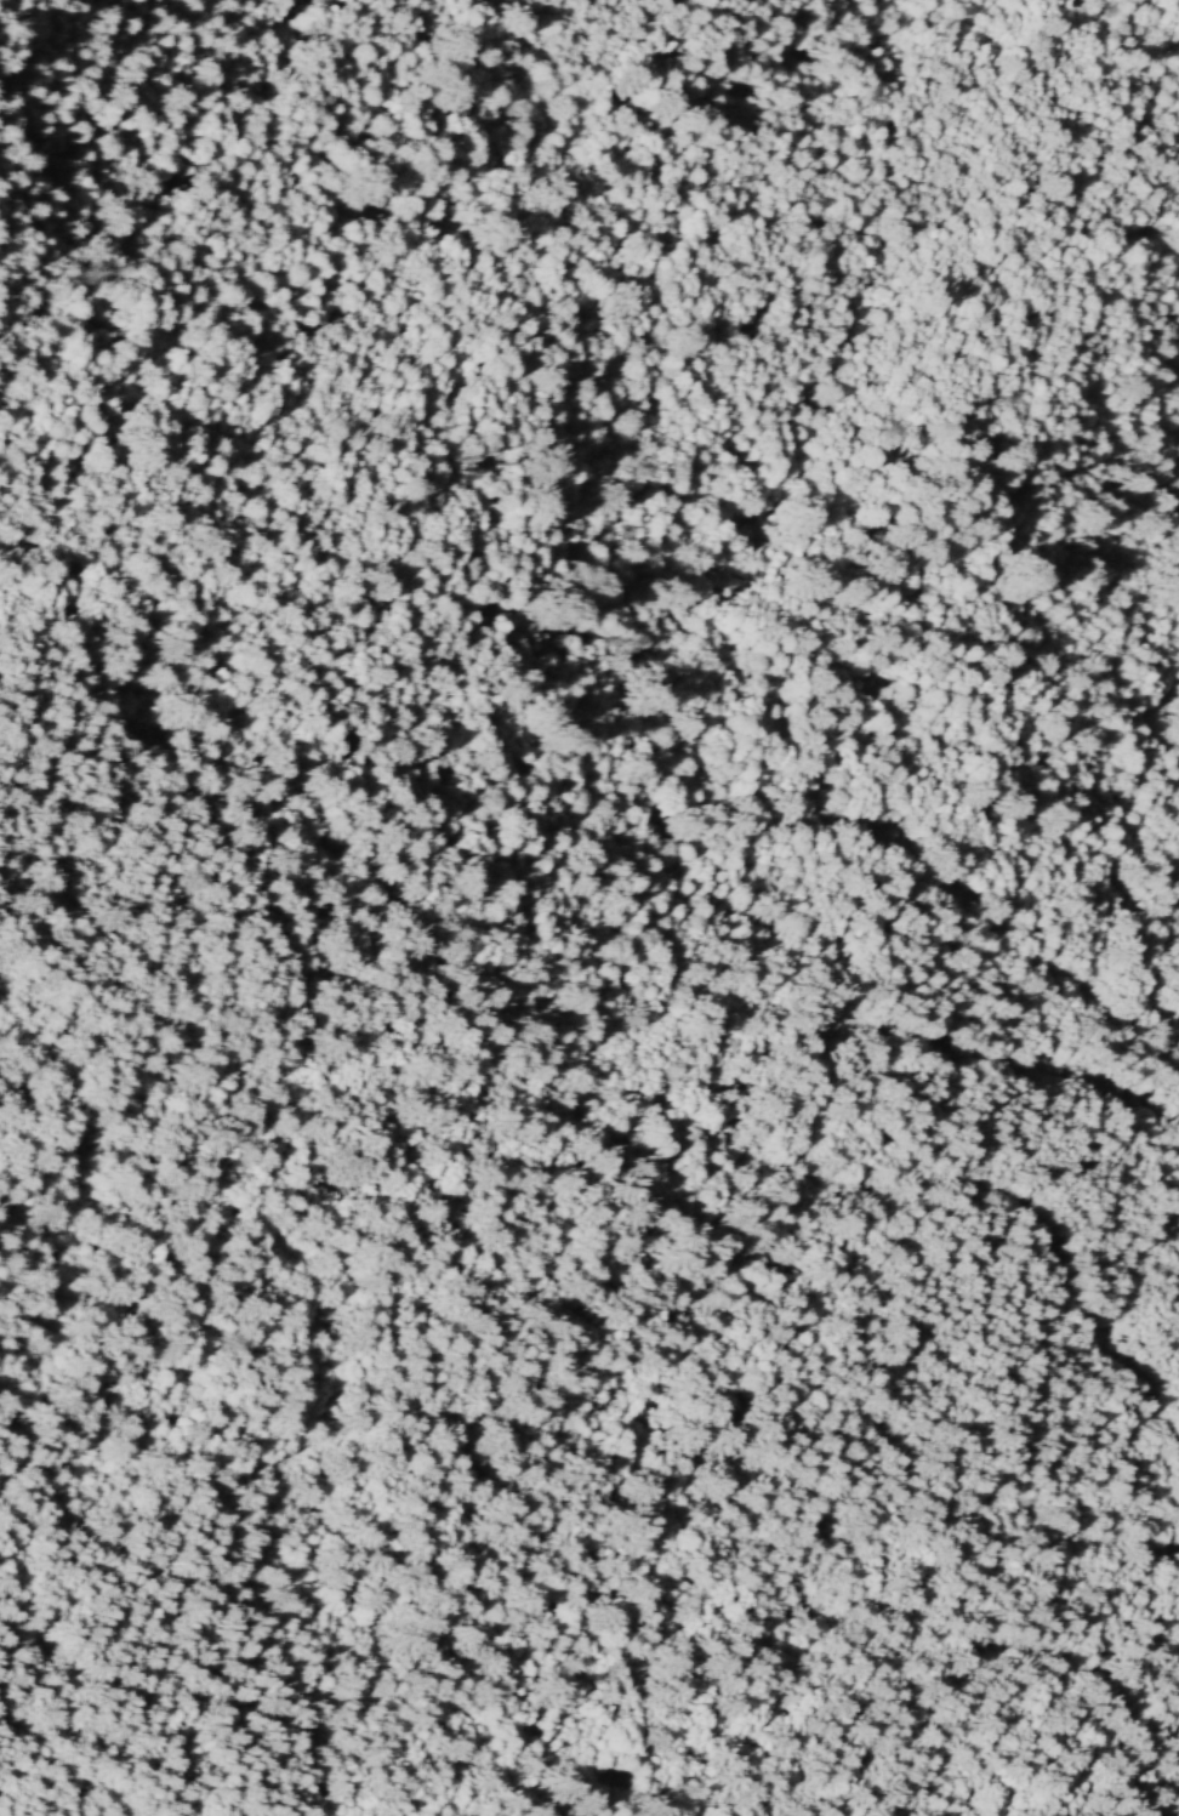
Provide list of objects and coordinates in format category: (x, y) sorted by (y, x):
road: (609, 1783)

